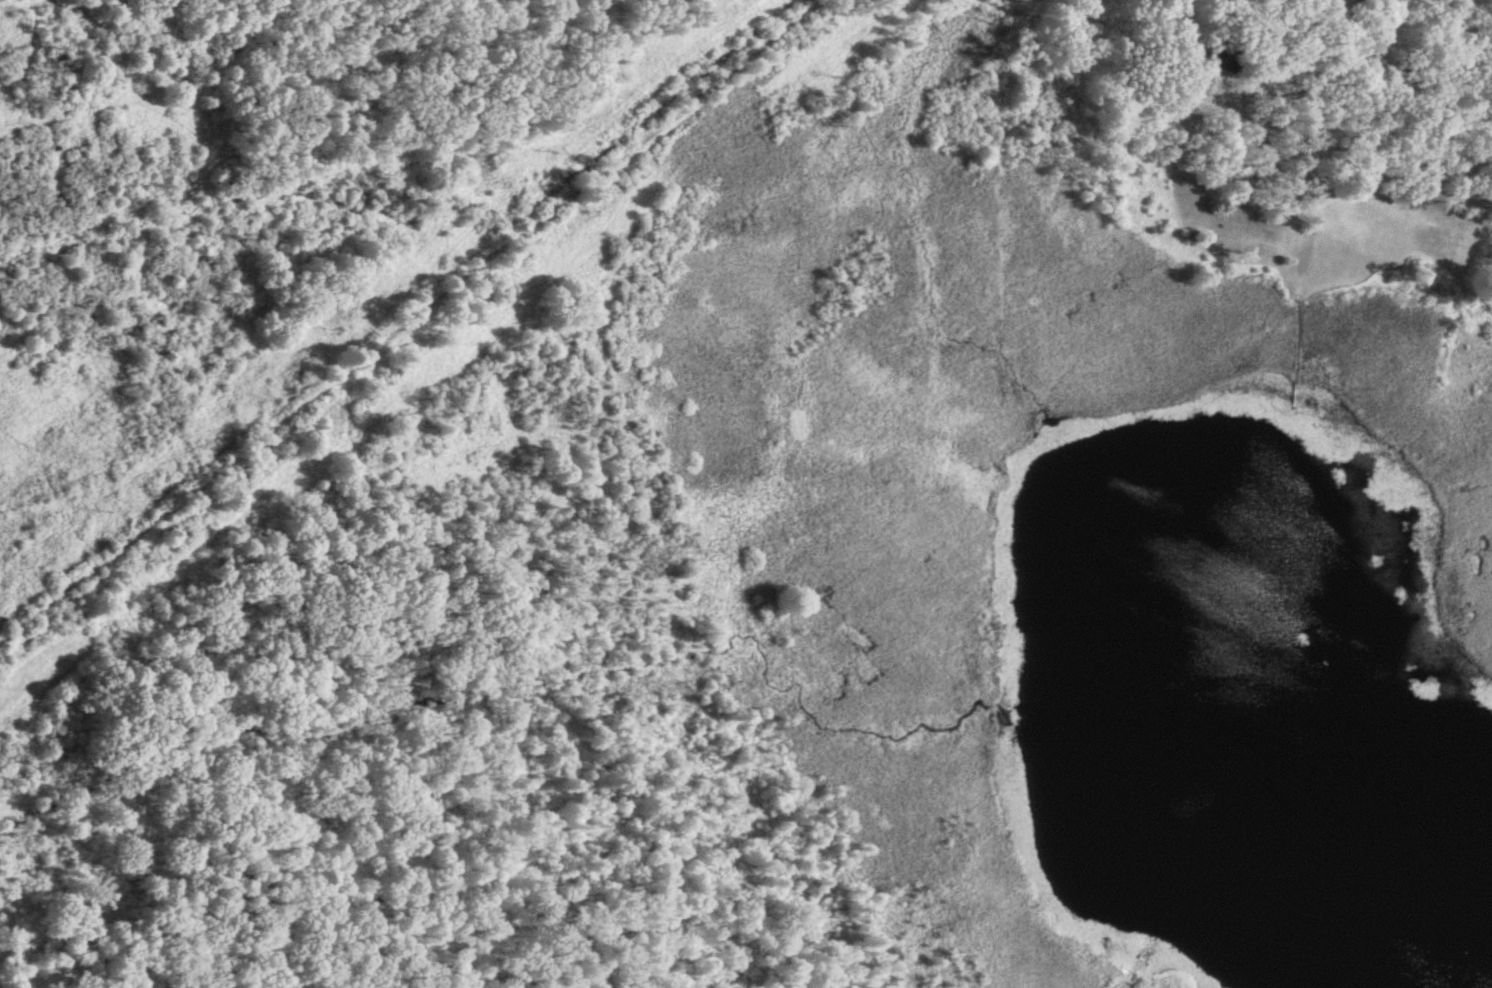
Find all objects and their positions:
building: (1266, 153)

